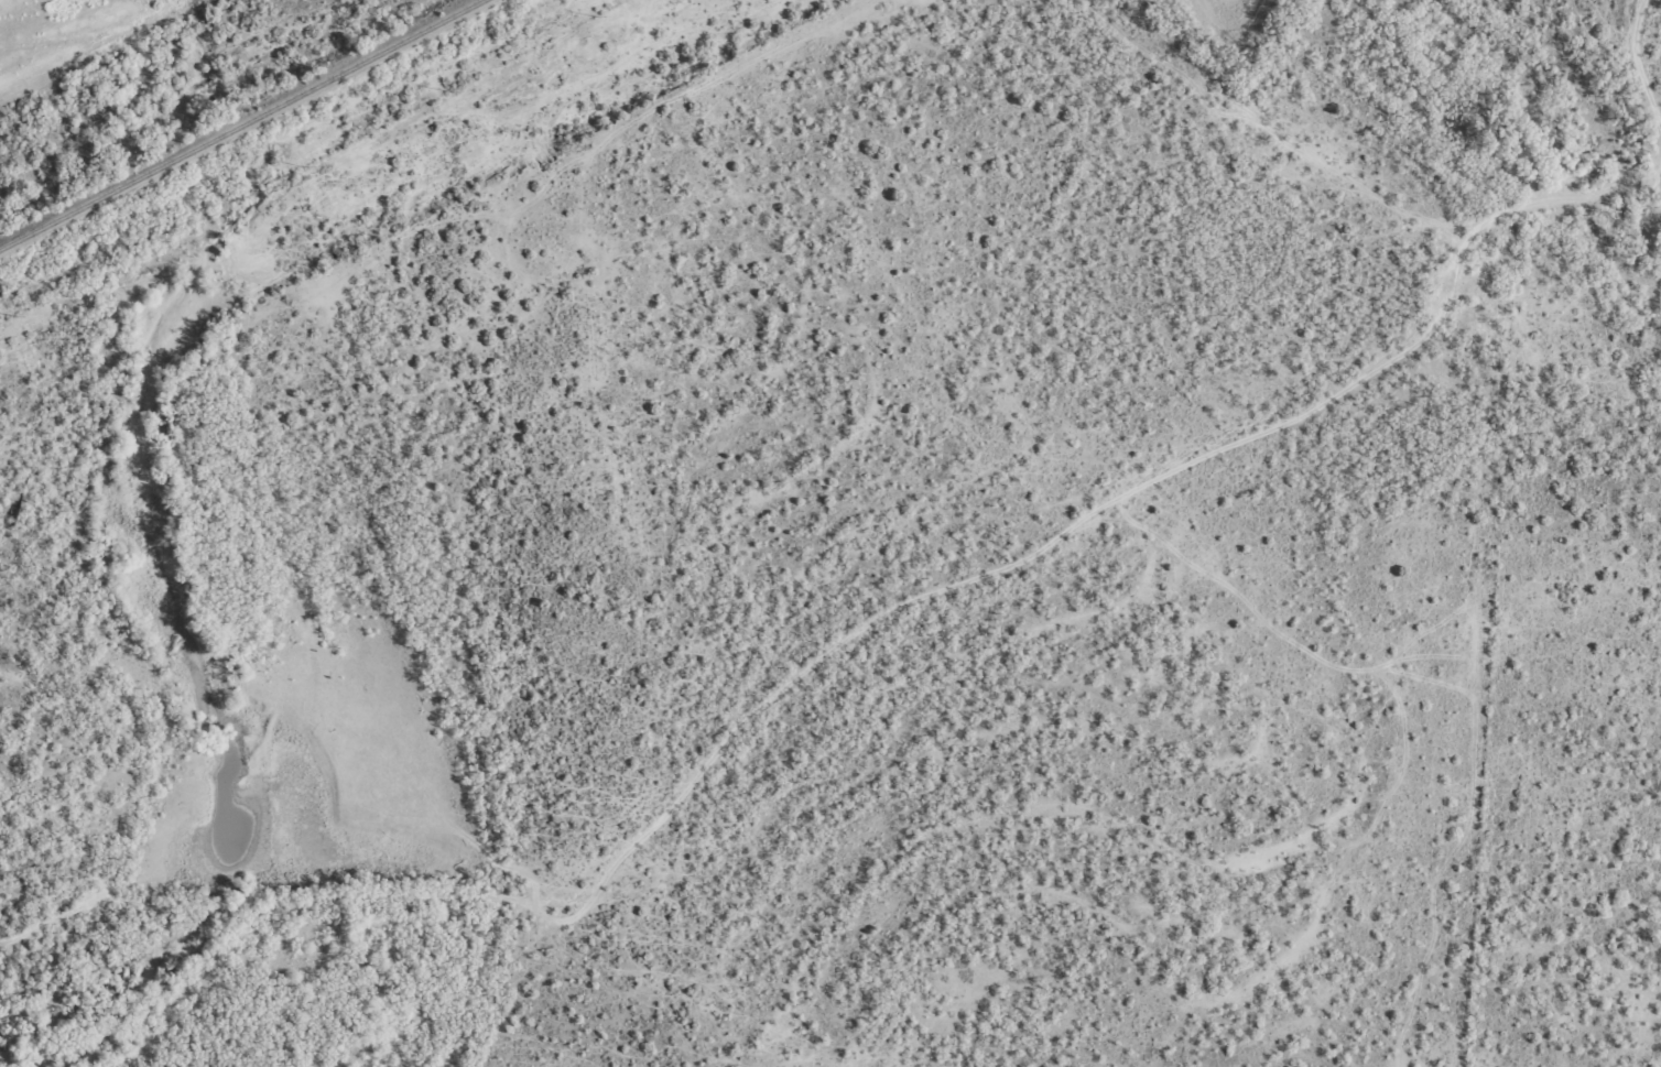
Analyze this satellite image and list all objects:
road: (1636, 66)
railway: (237, 121)

